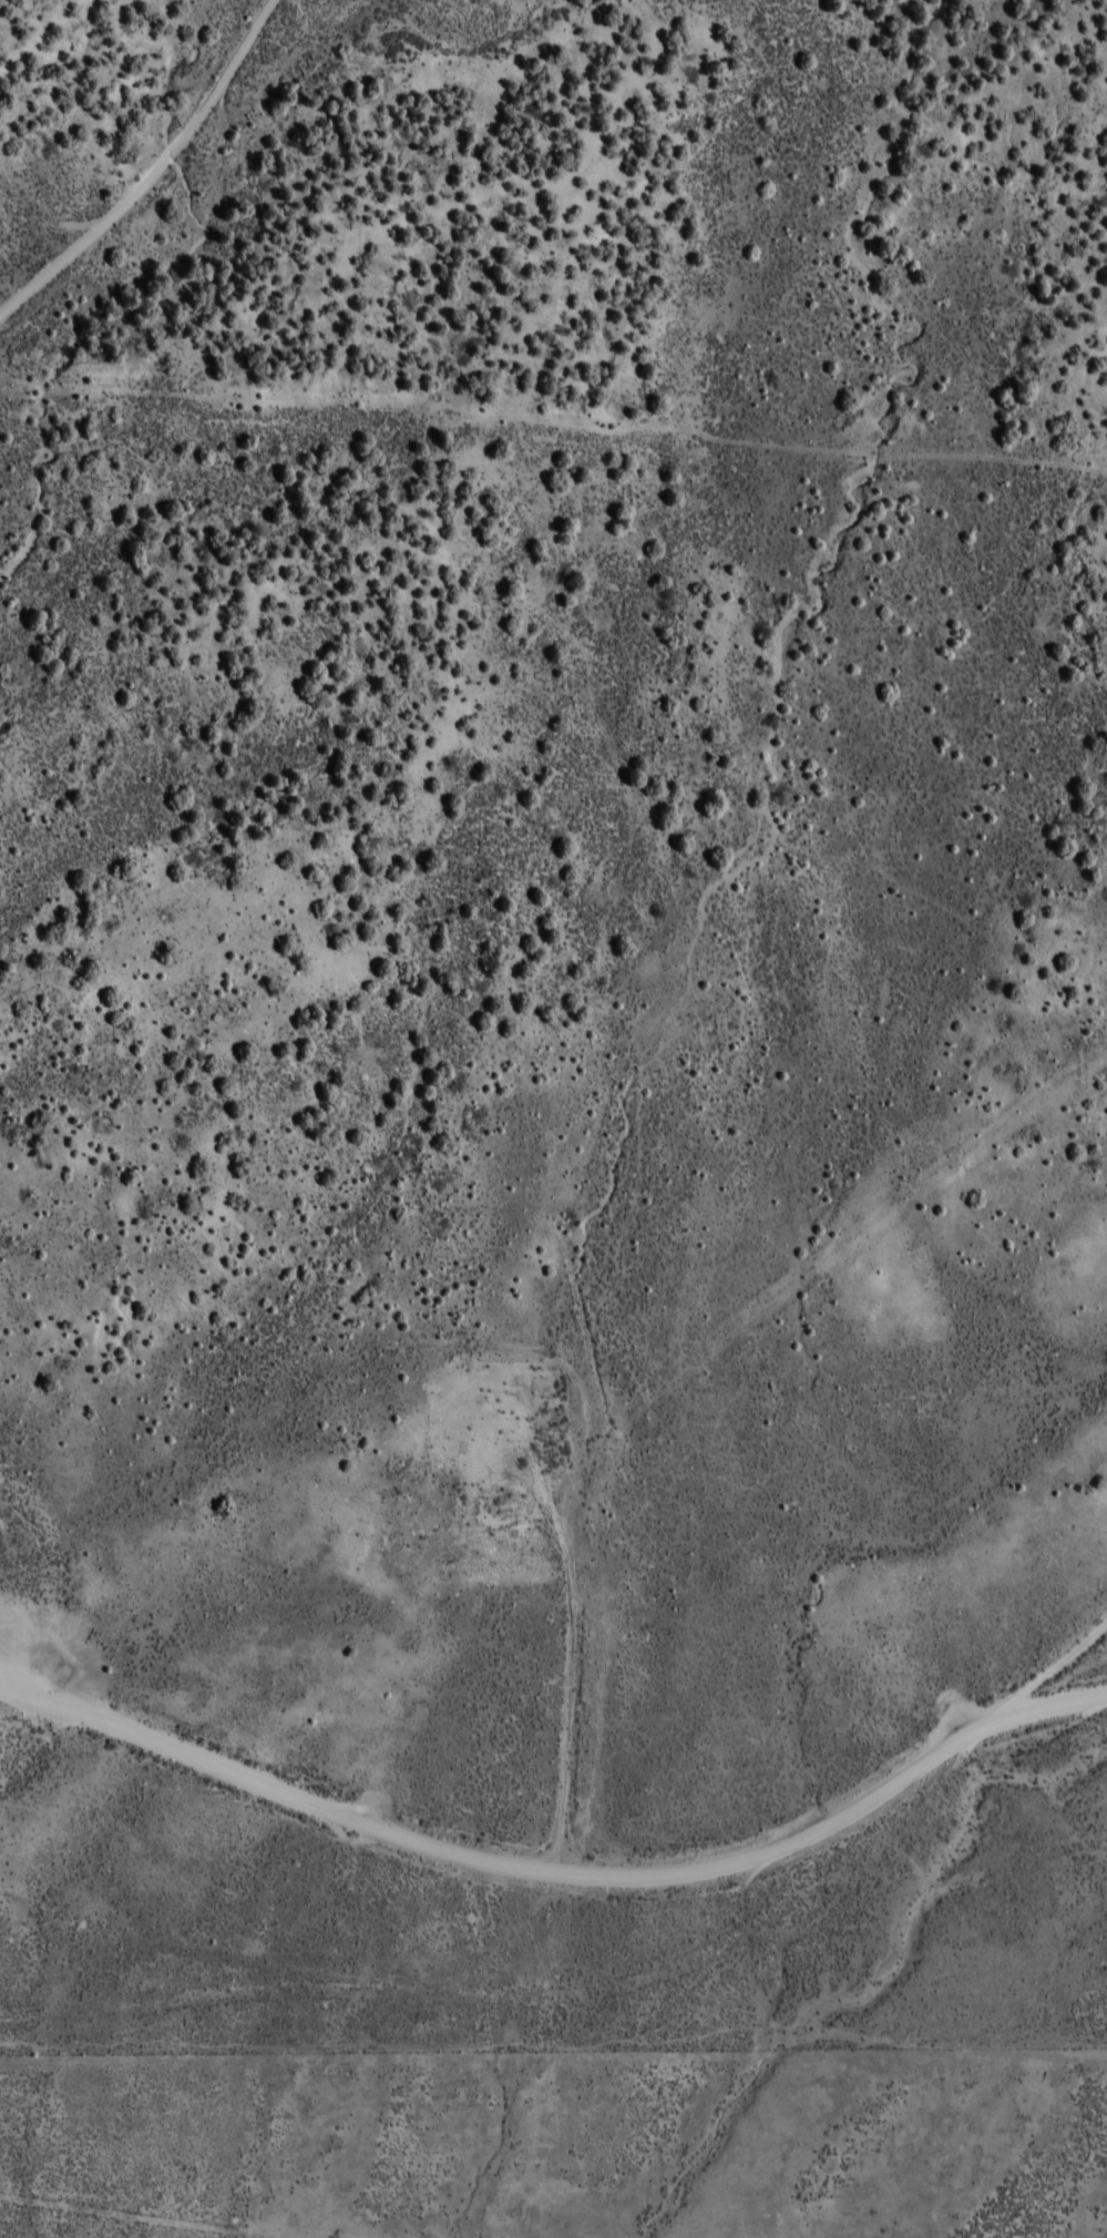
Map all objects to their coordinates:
road: (557, 1859)

